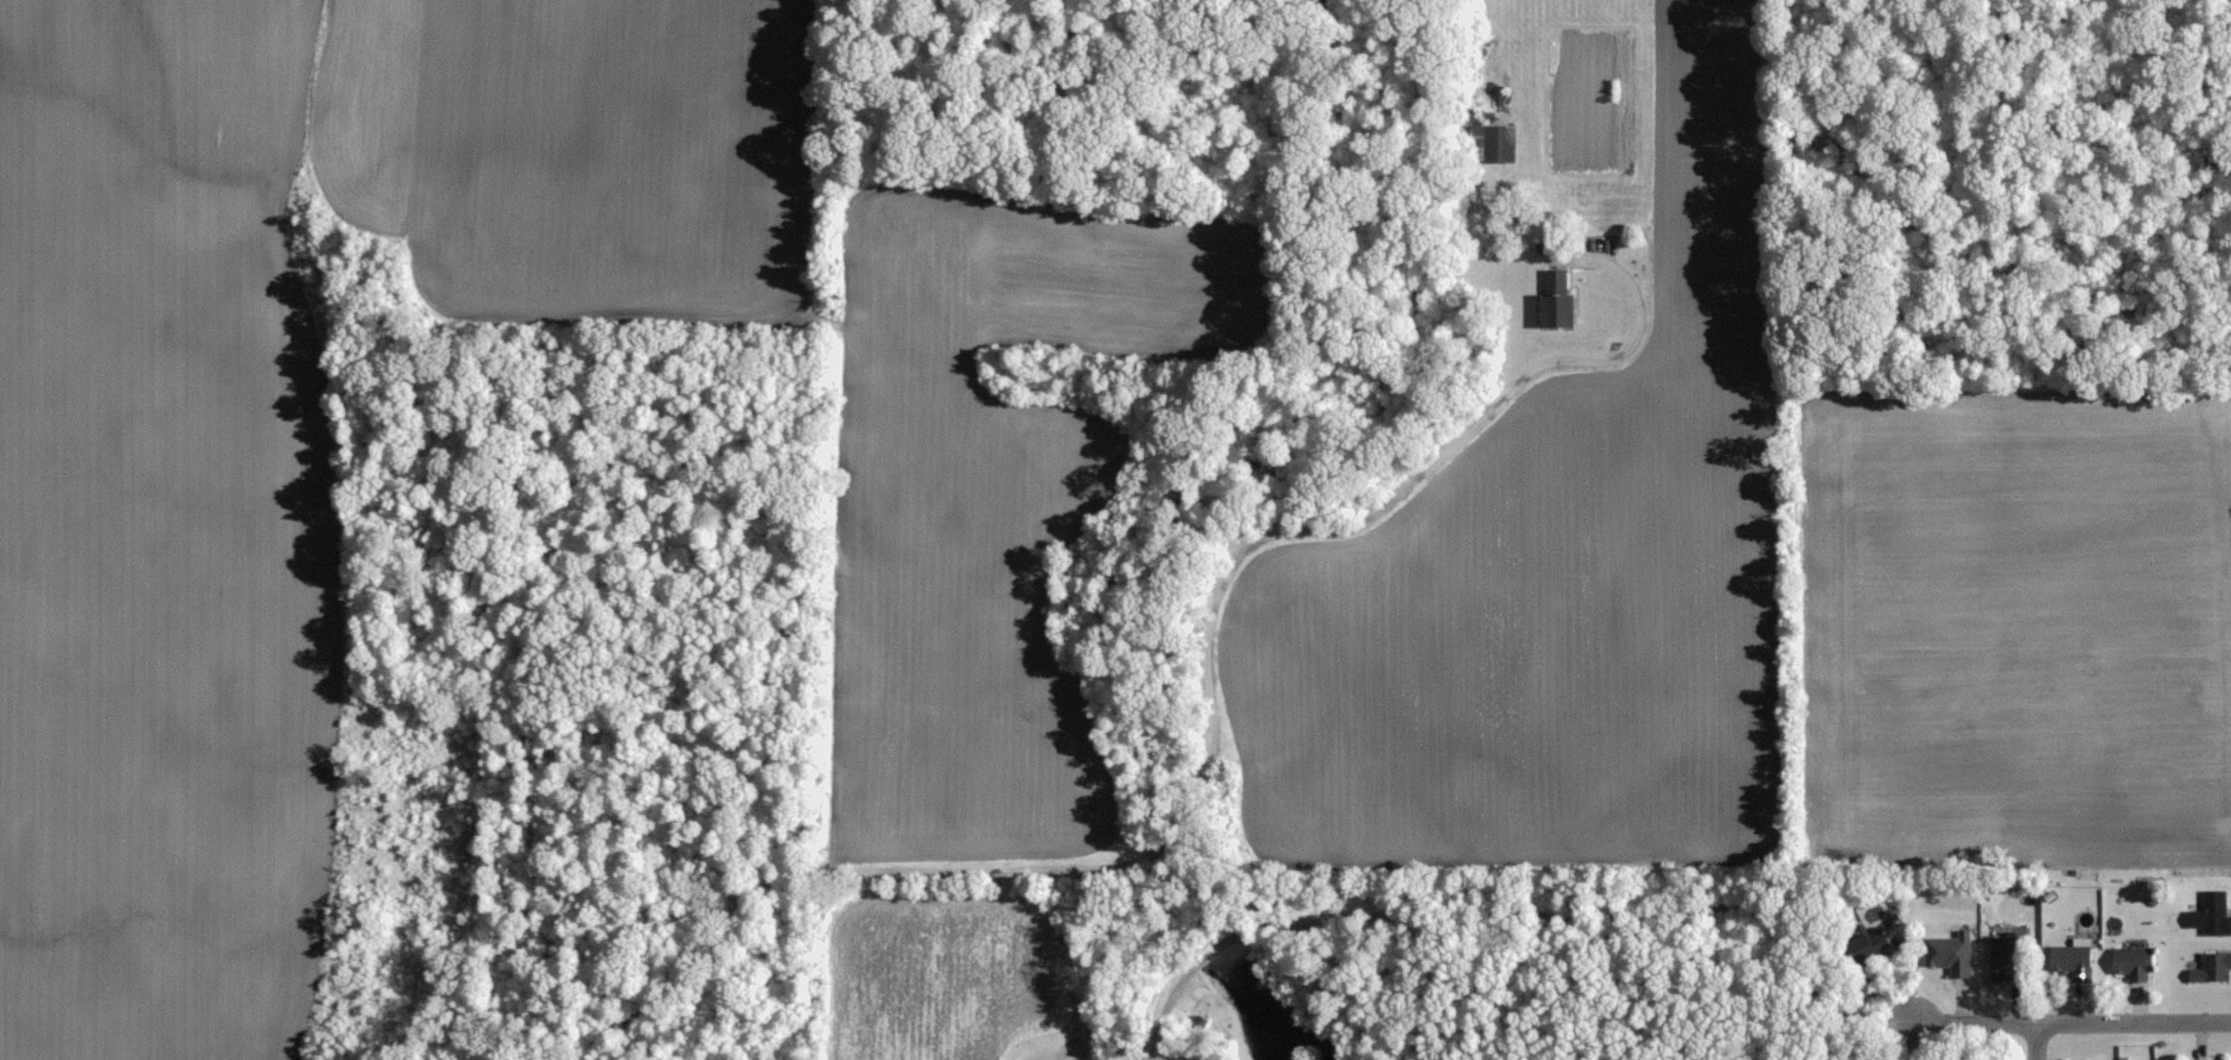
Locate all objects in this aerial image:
building: (1554, 312)
building: (2209, 912)
building: (2069, 960)
building: (2129, 963)
building: (2210, 966)
road: (2132, 1024)
road: (1974, 1026)
road: (2034, 1042)

